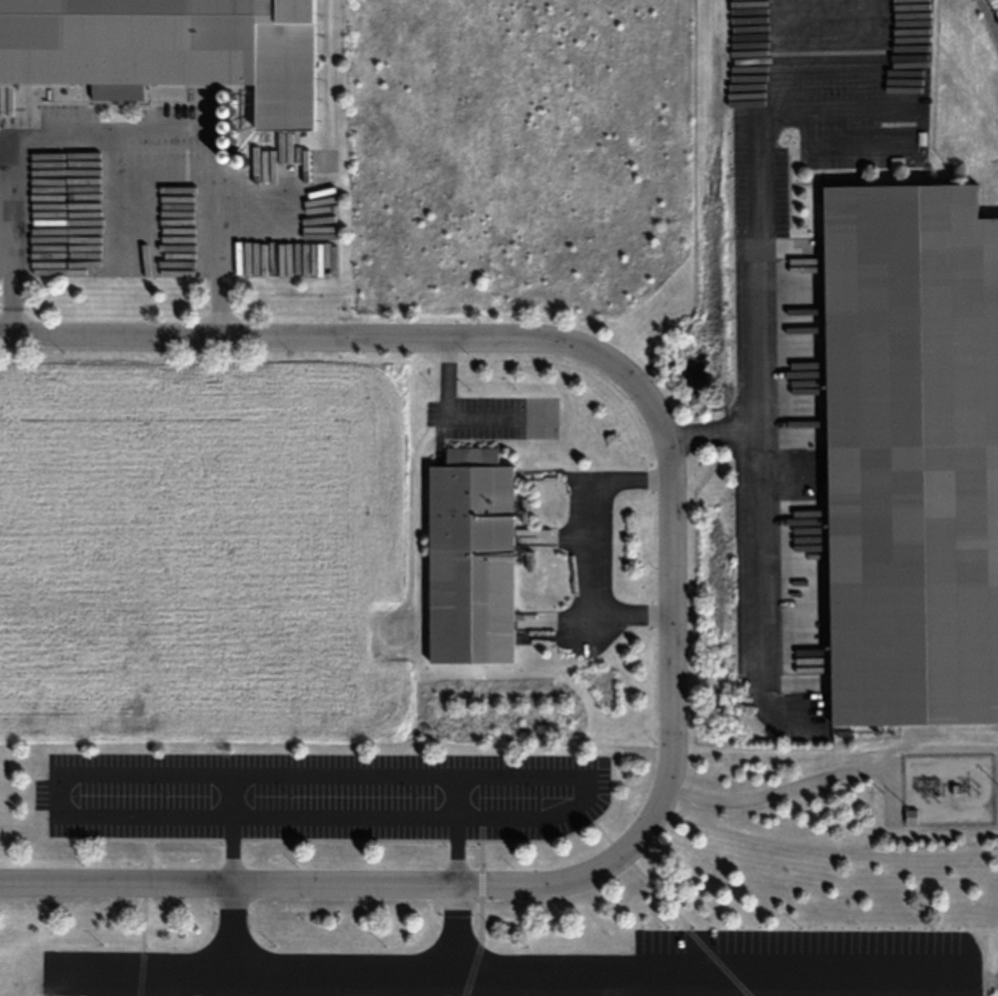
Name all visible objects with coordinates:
railway: (991, 10)
railway: (988, 21)
building: (128, 47)
road: (120, 134)
road: (760, 232)
road: (434, 347)
road: (466, 416)
building: (911, 451)
road: (756, 493)
building: (475, 507)
road: (590, 547)
road: (784, 788)
power substation: (948, 789)
road: (345, 815)
building: (912, 817)
road: (445, 887)
road: (121, 959)
road: (346, 970)

